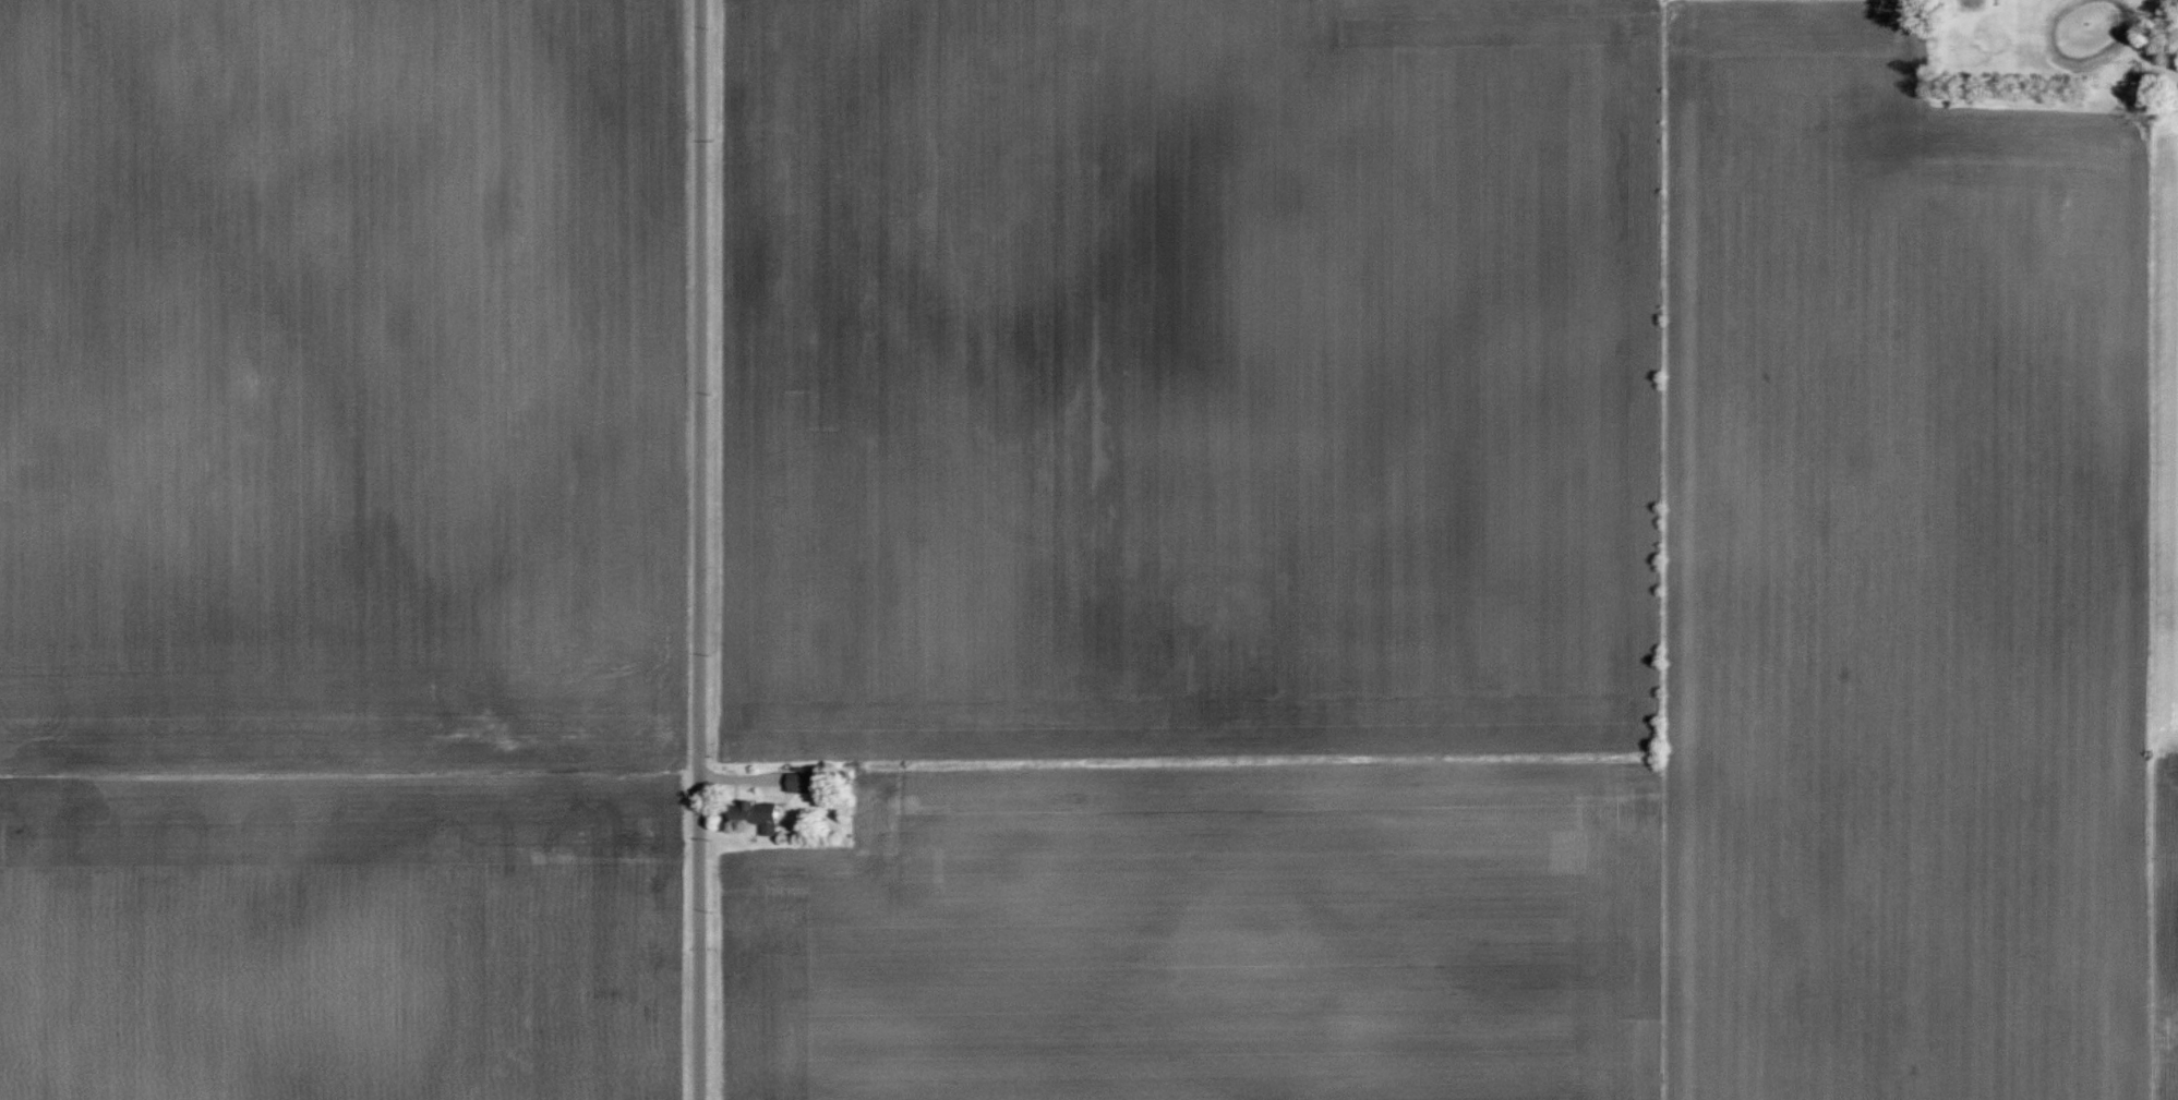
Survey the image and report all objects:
road: (700, 549)
building: (796, 782)
building: (754, 814)

